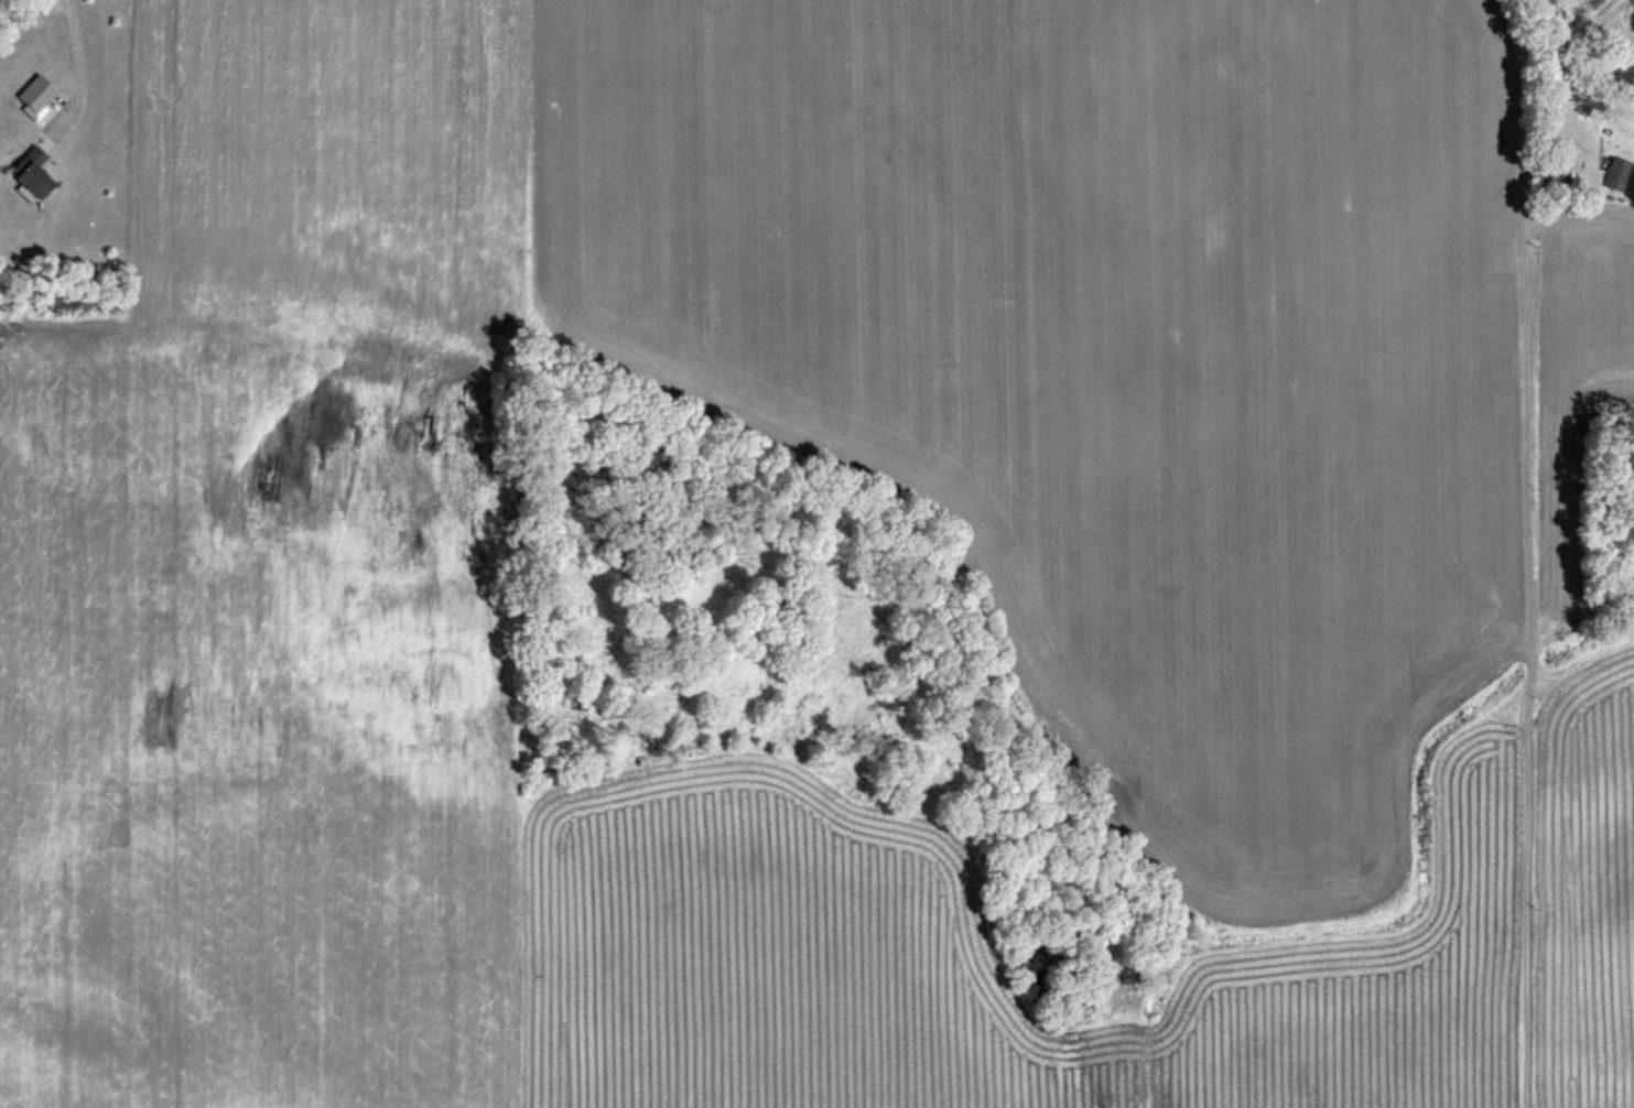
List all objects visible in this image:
road: (1522, 51)
road: (75, 59)
building: (41, 98)
building: (35, 172)
building: (1619, 173)
road: (1525, 639)

